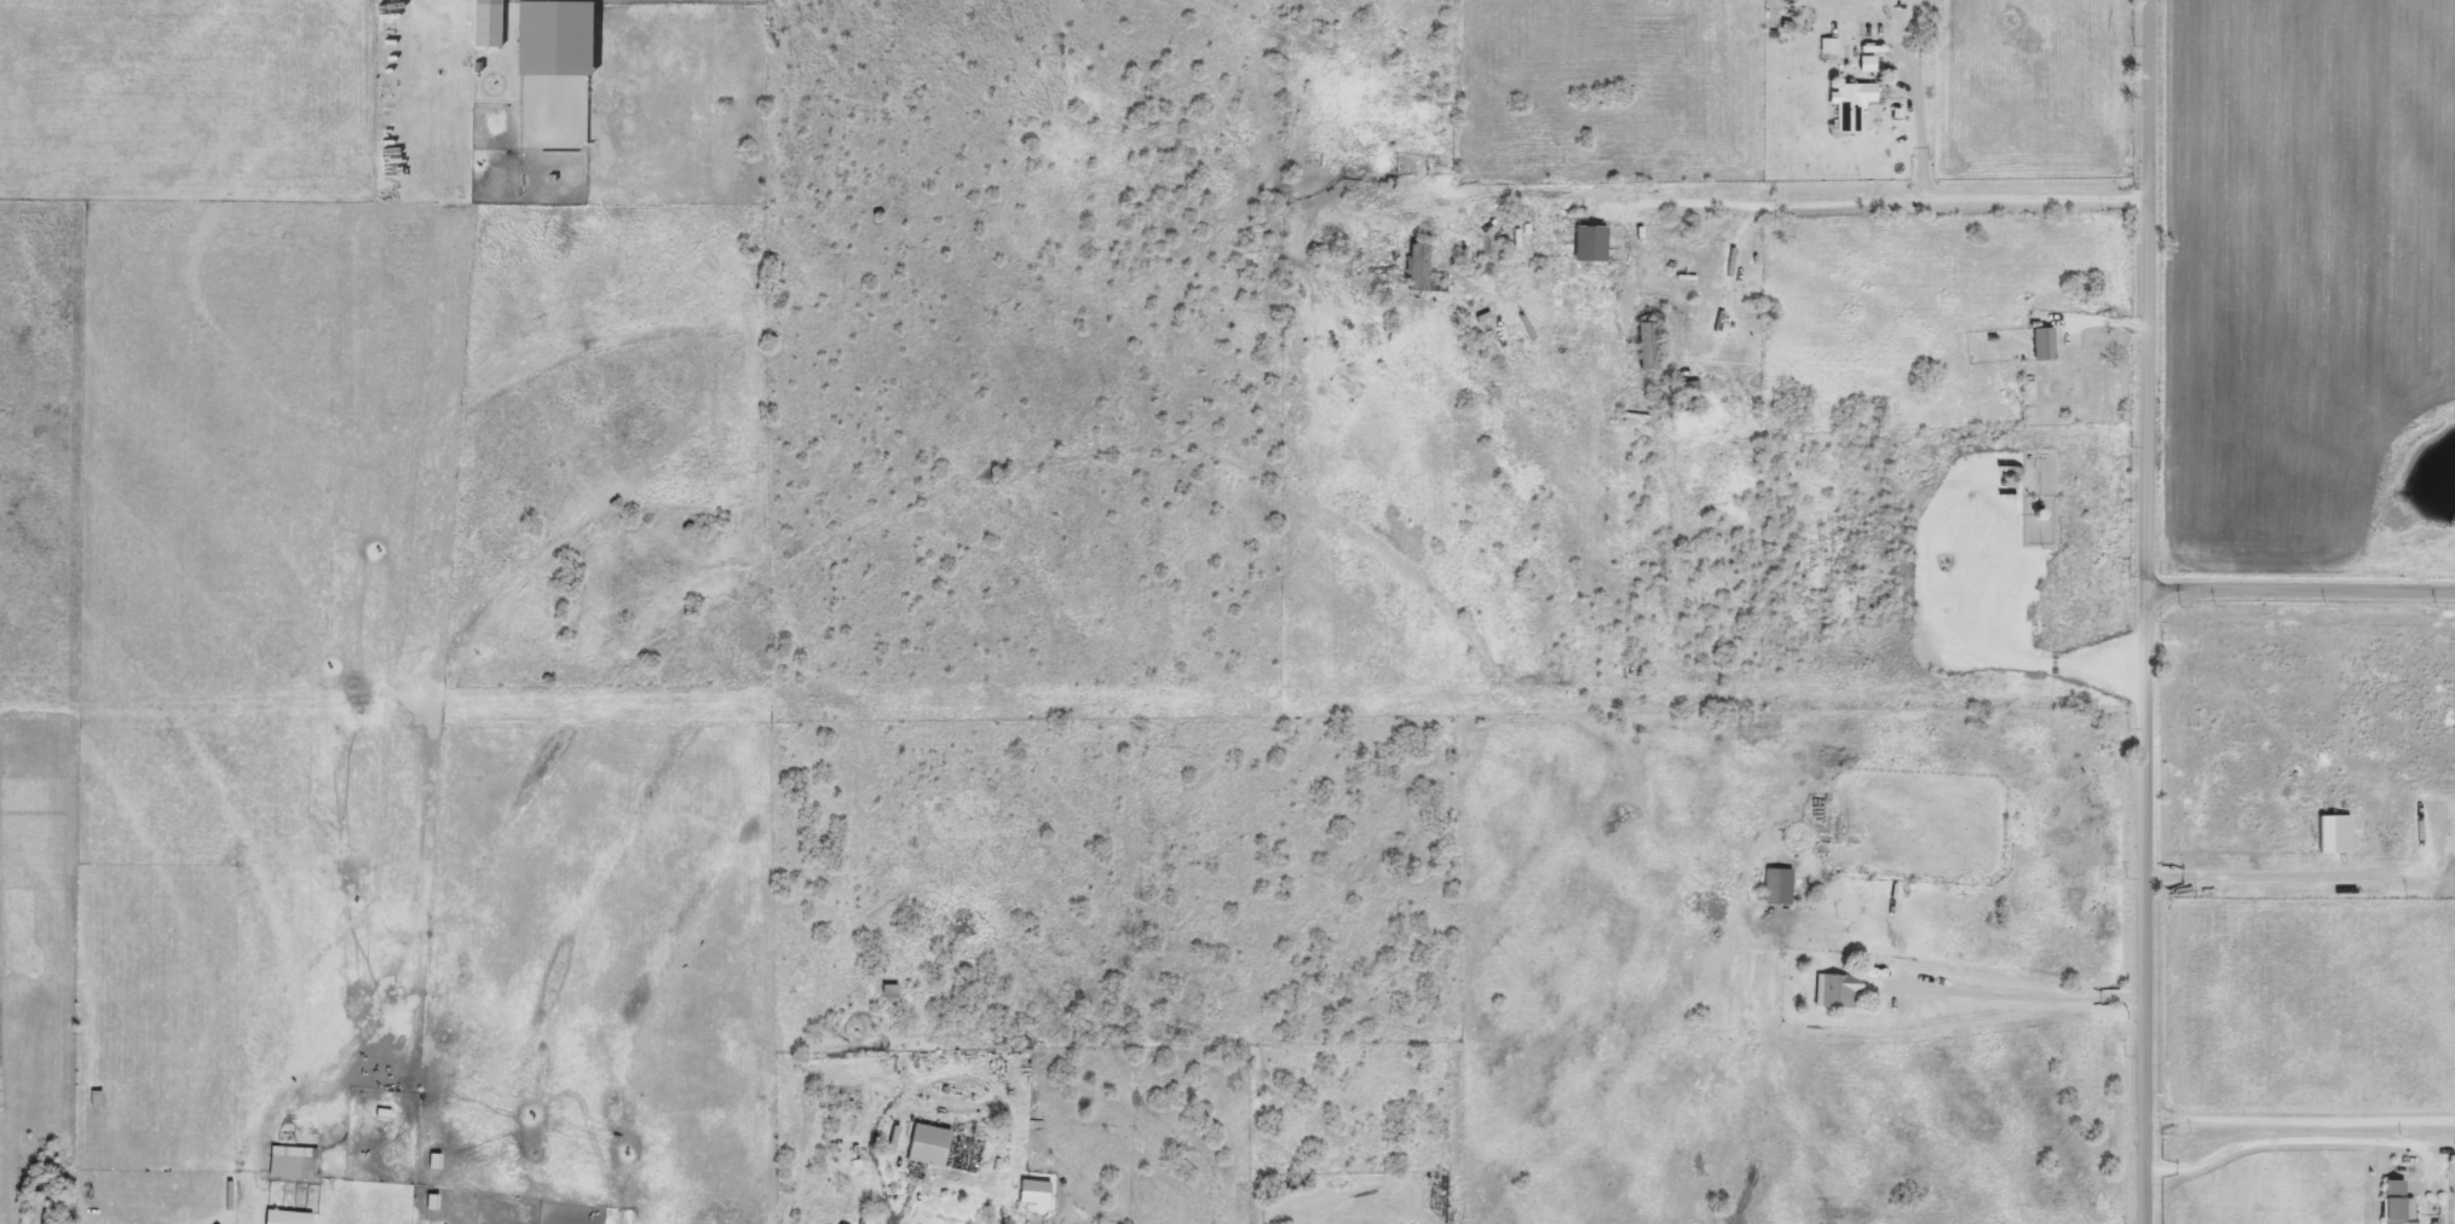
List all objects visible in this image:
road: (443, 0)
building: (488, 22)
building: (555, 35)
building: (1854, 105)
road: (1921, 129)
road: (1783, 202)
building: (1592, 243)
building: (1420, 266)
road: (2148, 296)
building: (2045, 345)
building: (1650, 346)
road: (2300, 589)
road: (2324, 872)
building: (1780, 885)
road: (2151, 908)
road: (392, 964)
building: (1839, 989)
road: (2018, 995)
road: (940, 1074)
road: (2304, 1119)
building: (932, 1145)
road: (2306, 1145)
building: (295, 1162)
building: (2401, 1203)
road: (900, 1209)
building: (289, 1217)

